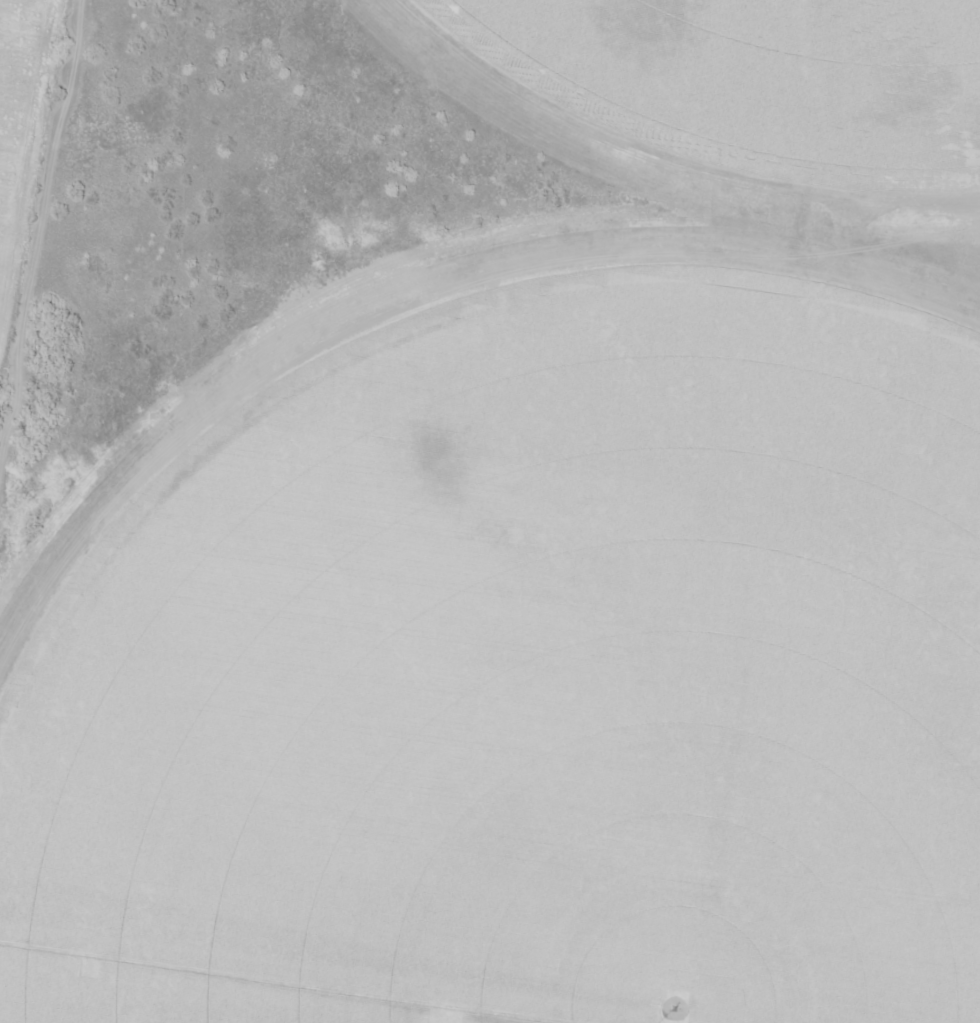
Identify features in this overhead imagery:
road: (27, 158)

